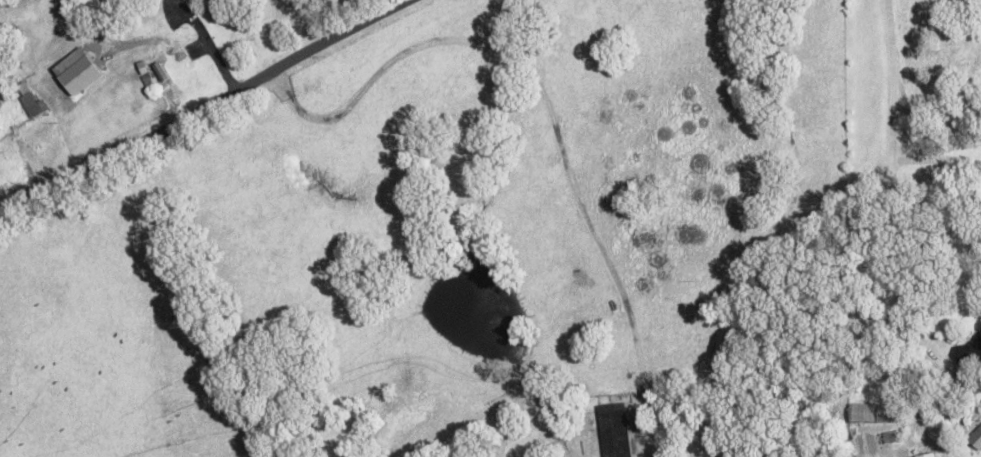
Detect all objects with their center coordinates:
road: (195, 102)
building: (31, 107)
building: (43, 129)
road: (891, 177)
building: (969, 354)
building: (615, 431)
building: (977, 440)
building: (932, 456)

